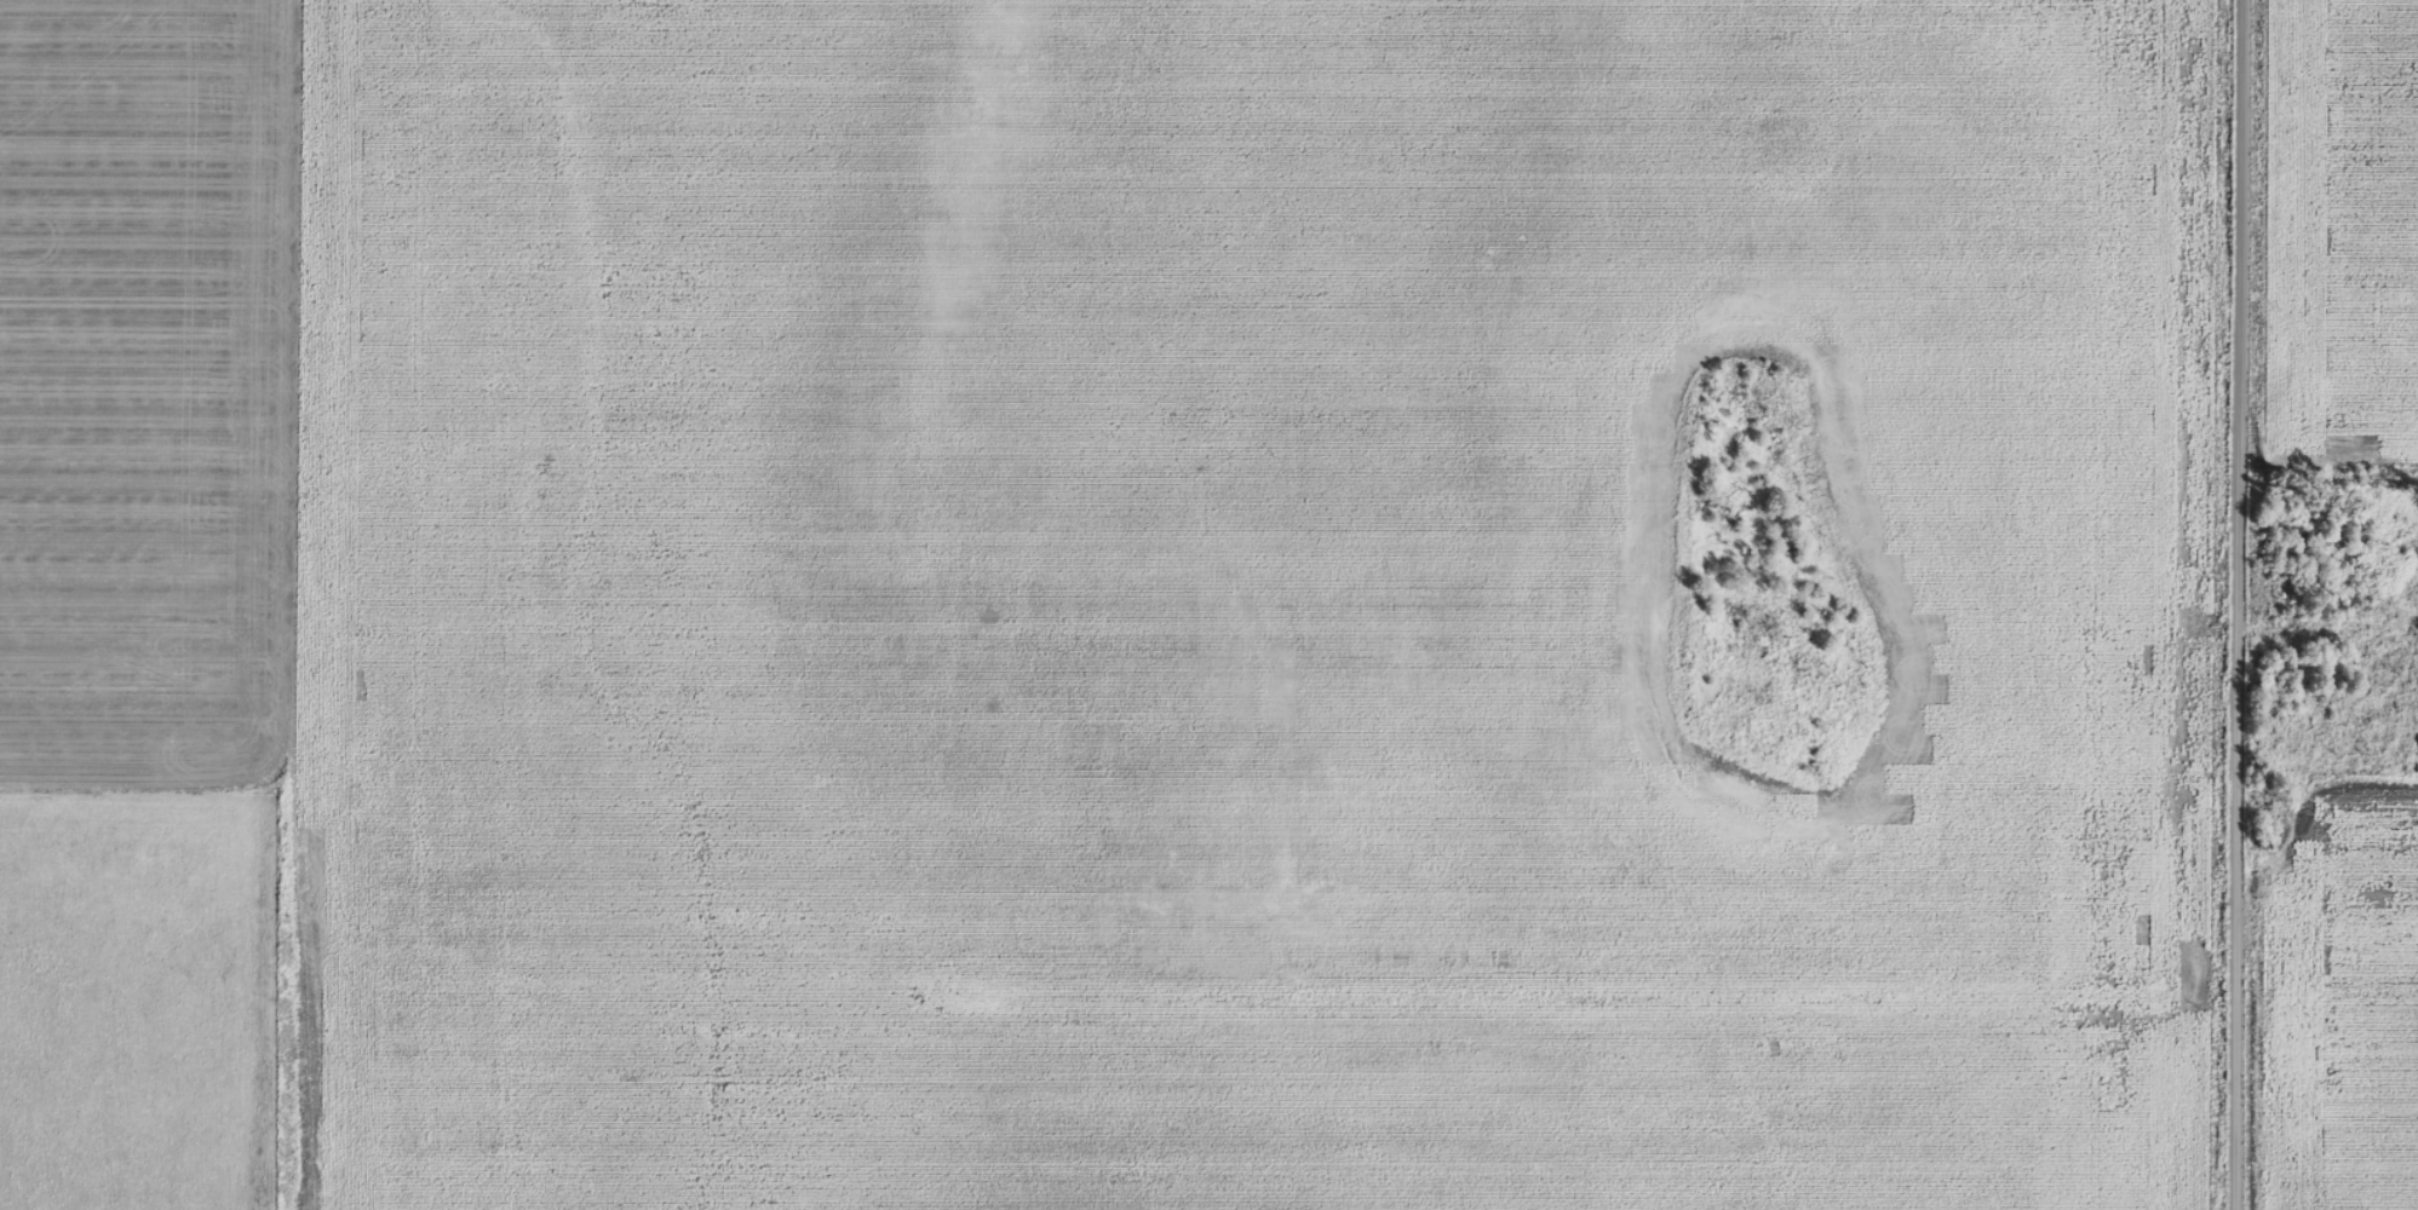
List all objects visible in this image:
road: (2257, 605)

